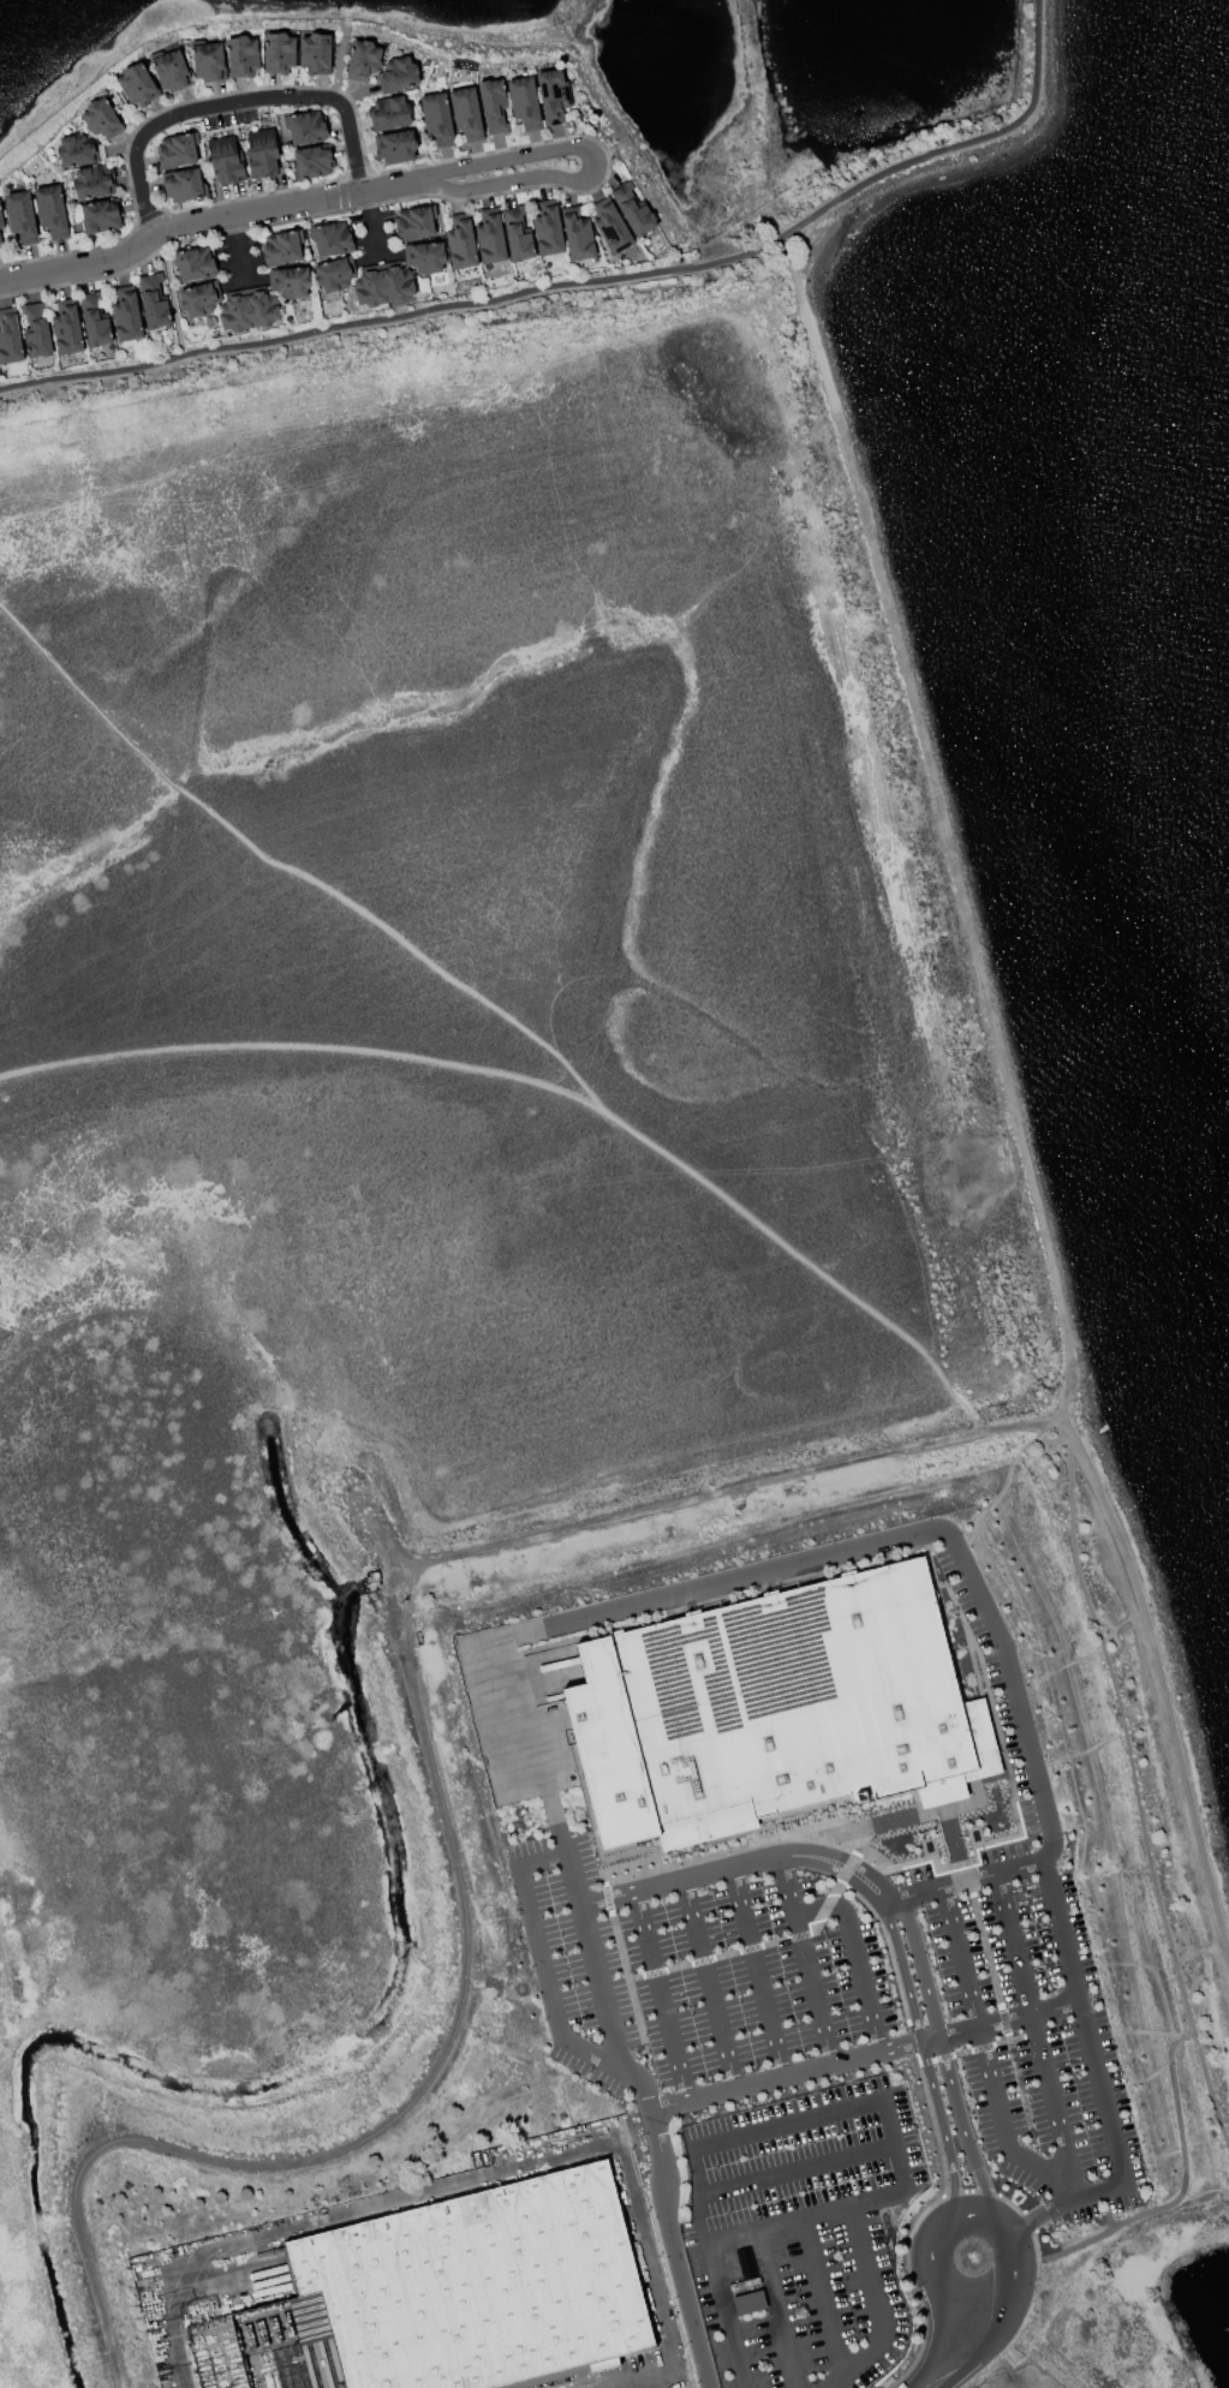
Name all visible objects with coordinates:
building: (279, 53)
building: (315, 53)
building: (241, 56)
building: (207, 60)
building: (362, 60)
building: (169, 70)
building: (398, 74)
building: (137, 84)
building: (553, 95)
building: (524, 102)
building: (493, 105)
road: (237, 109)
building: (388, 113)
building: (466, 113)
building: (437, 118)
building: (101, 119)
building: (305, 126)
building: (395, 147)
building: (76, 150)
building: (177, 151)
building: (261, 154)
building: (225, 160)
building: (311, 162)
building: (93, 181)
building: (183, 185)
road: (286, 207)
building: (633, 210)
building: (50, 211)
building: (100, 216)
building: (19, 217)
building: (1, 222)
building: (414, 223)
building: (610, 226)
building: (548, 228)
building: (517, 234)
building: (578, 234)
building: (330, 238)
building: (489, 238)
building: (460, 243)
building: (2, 247)
building: (281, 247)
building: (424, 257)
building: (192, 263)
building: (334, 274)
building: (290, 282)
road: (586, 283)
building: (382, 285)
road: (171, 294)
building: (199, 299)
building: (153, 302)
building: (247, 310)
building: (125, 315)
building: (94, 321)
building: (66, 328)
building: (36, 330)
building: (8, 338)
road: (1003, 1099)
road: (729, 1580)
parking lot: (991, 1671)
road: (1015, 1700)
building: (774, 1709)
road: (533, 1737)
road: (1138, 1792)
road: (923, 1814)
parking lot: (1033, 1817)
road: (949, 1833)
road: (843, 1841)
parking lot: (1003, 1856)
road: (736, 1864)
road: (959, 1867)
road: (841, 1879)
parking lot: (917, 1879)
road: (962, 1880)
road: (962, 1881)
road: (591, 1953)
road: (718, 1956)
road: (854, 1956)
road: (804, 1959)
road: (622, 1962)
road: (989, 1964)
road: (542, 1970)
road: (754, 1971)
parking lot: (687, 1972)
road: (706, 1983)
road: (658, 1995)
road: (1007, 2019)
road: (1034, 2035)
road: (929, 2038)
parking lot: (1037, 2044)
road: (970, 2049)
road: (942, 2054)
road: (1091, 2054)
road: (924, 2058)
road: (984, 2058)
road: (784, 2074)
road: (786, 2124)
road: (795, 2169)
road: (458, 2181)
road: (697, 2183)
road: (1179, 2196)
road: (846, 2204)
road: (971, 2214)
road: (1031, 2219)
road: (668, 2232)
road: (929, 2263)
road: (1013, 2264)
building: (469, 2291)
road: (821, 2296)
road: (722, 2302)
building: (748, 2302)
road: (876, 2306)
road: (772, 2308)
road: (954, 2348)
road: (631, 2383)
road: (652, 2383)

